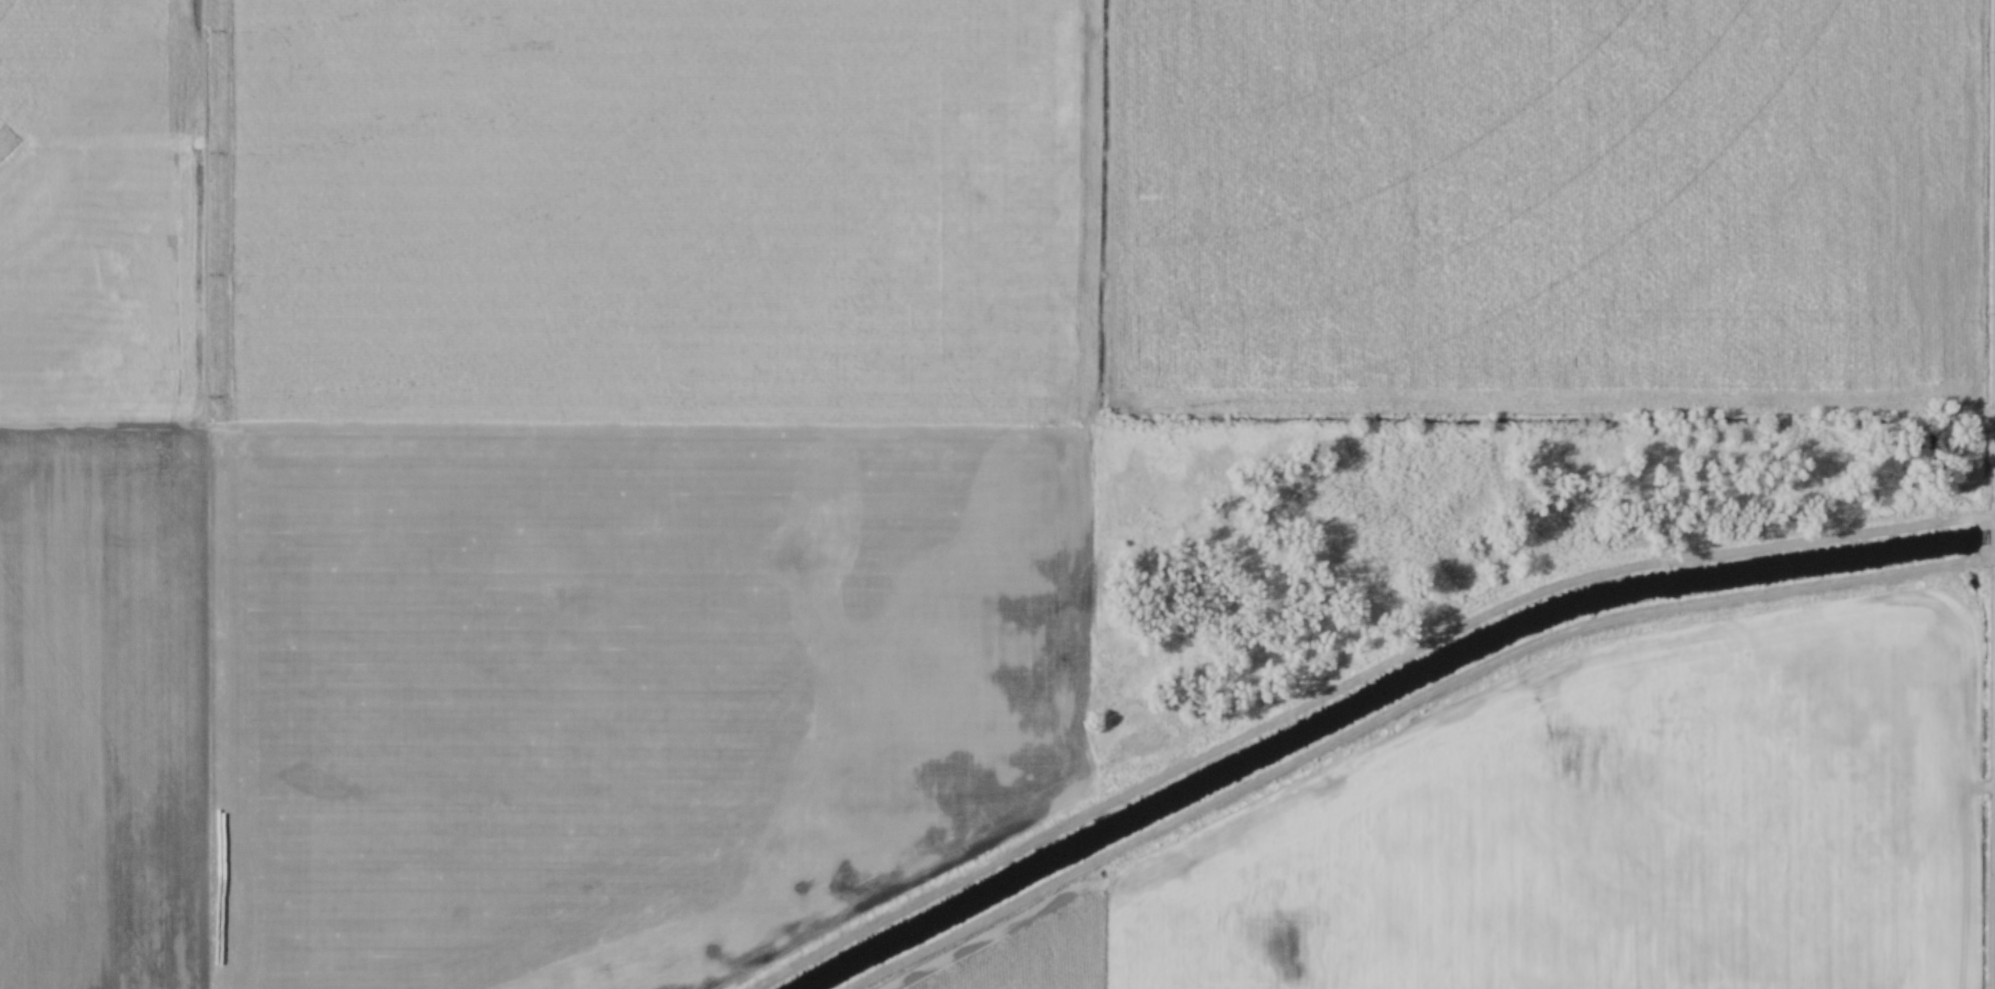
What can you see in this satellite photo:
crop: (788, 405)
crop: (1596, 836)

